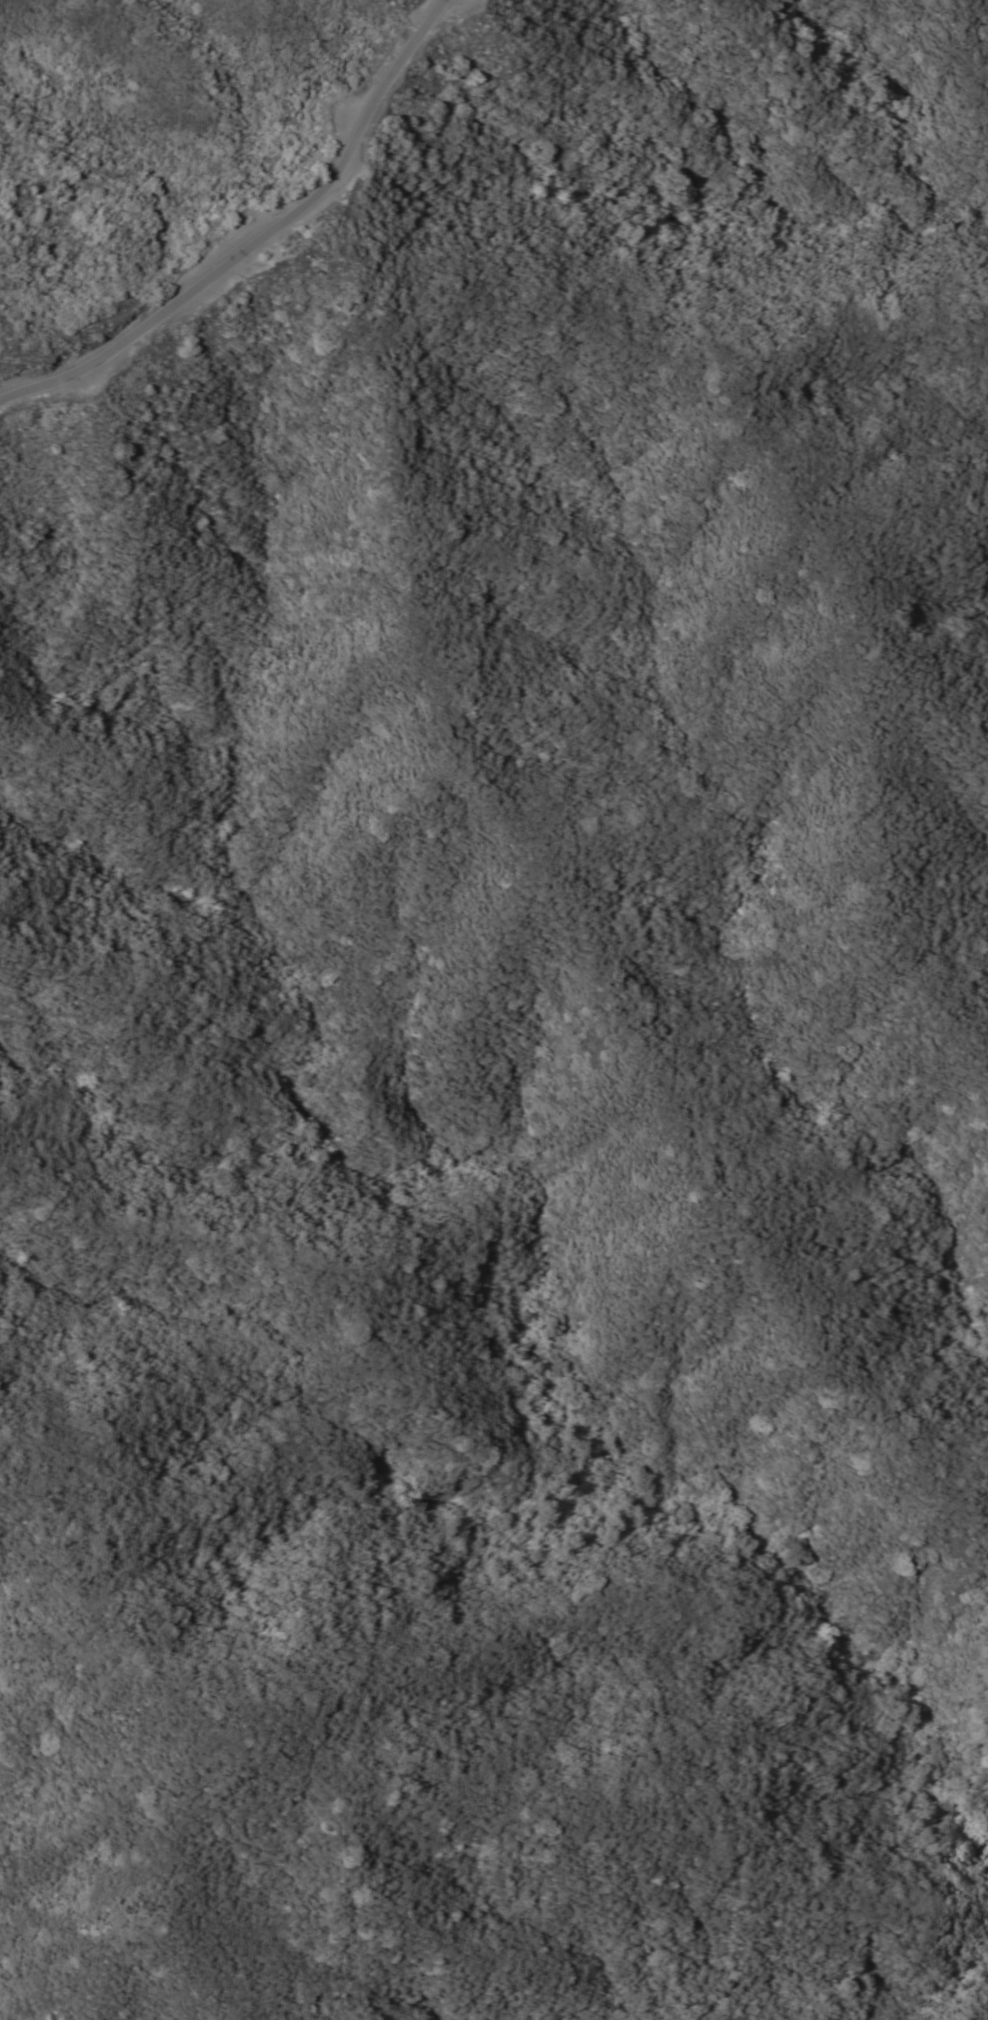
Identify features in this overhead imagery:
road: (257, 241)

